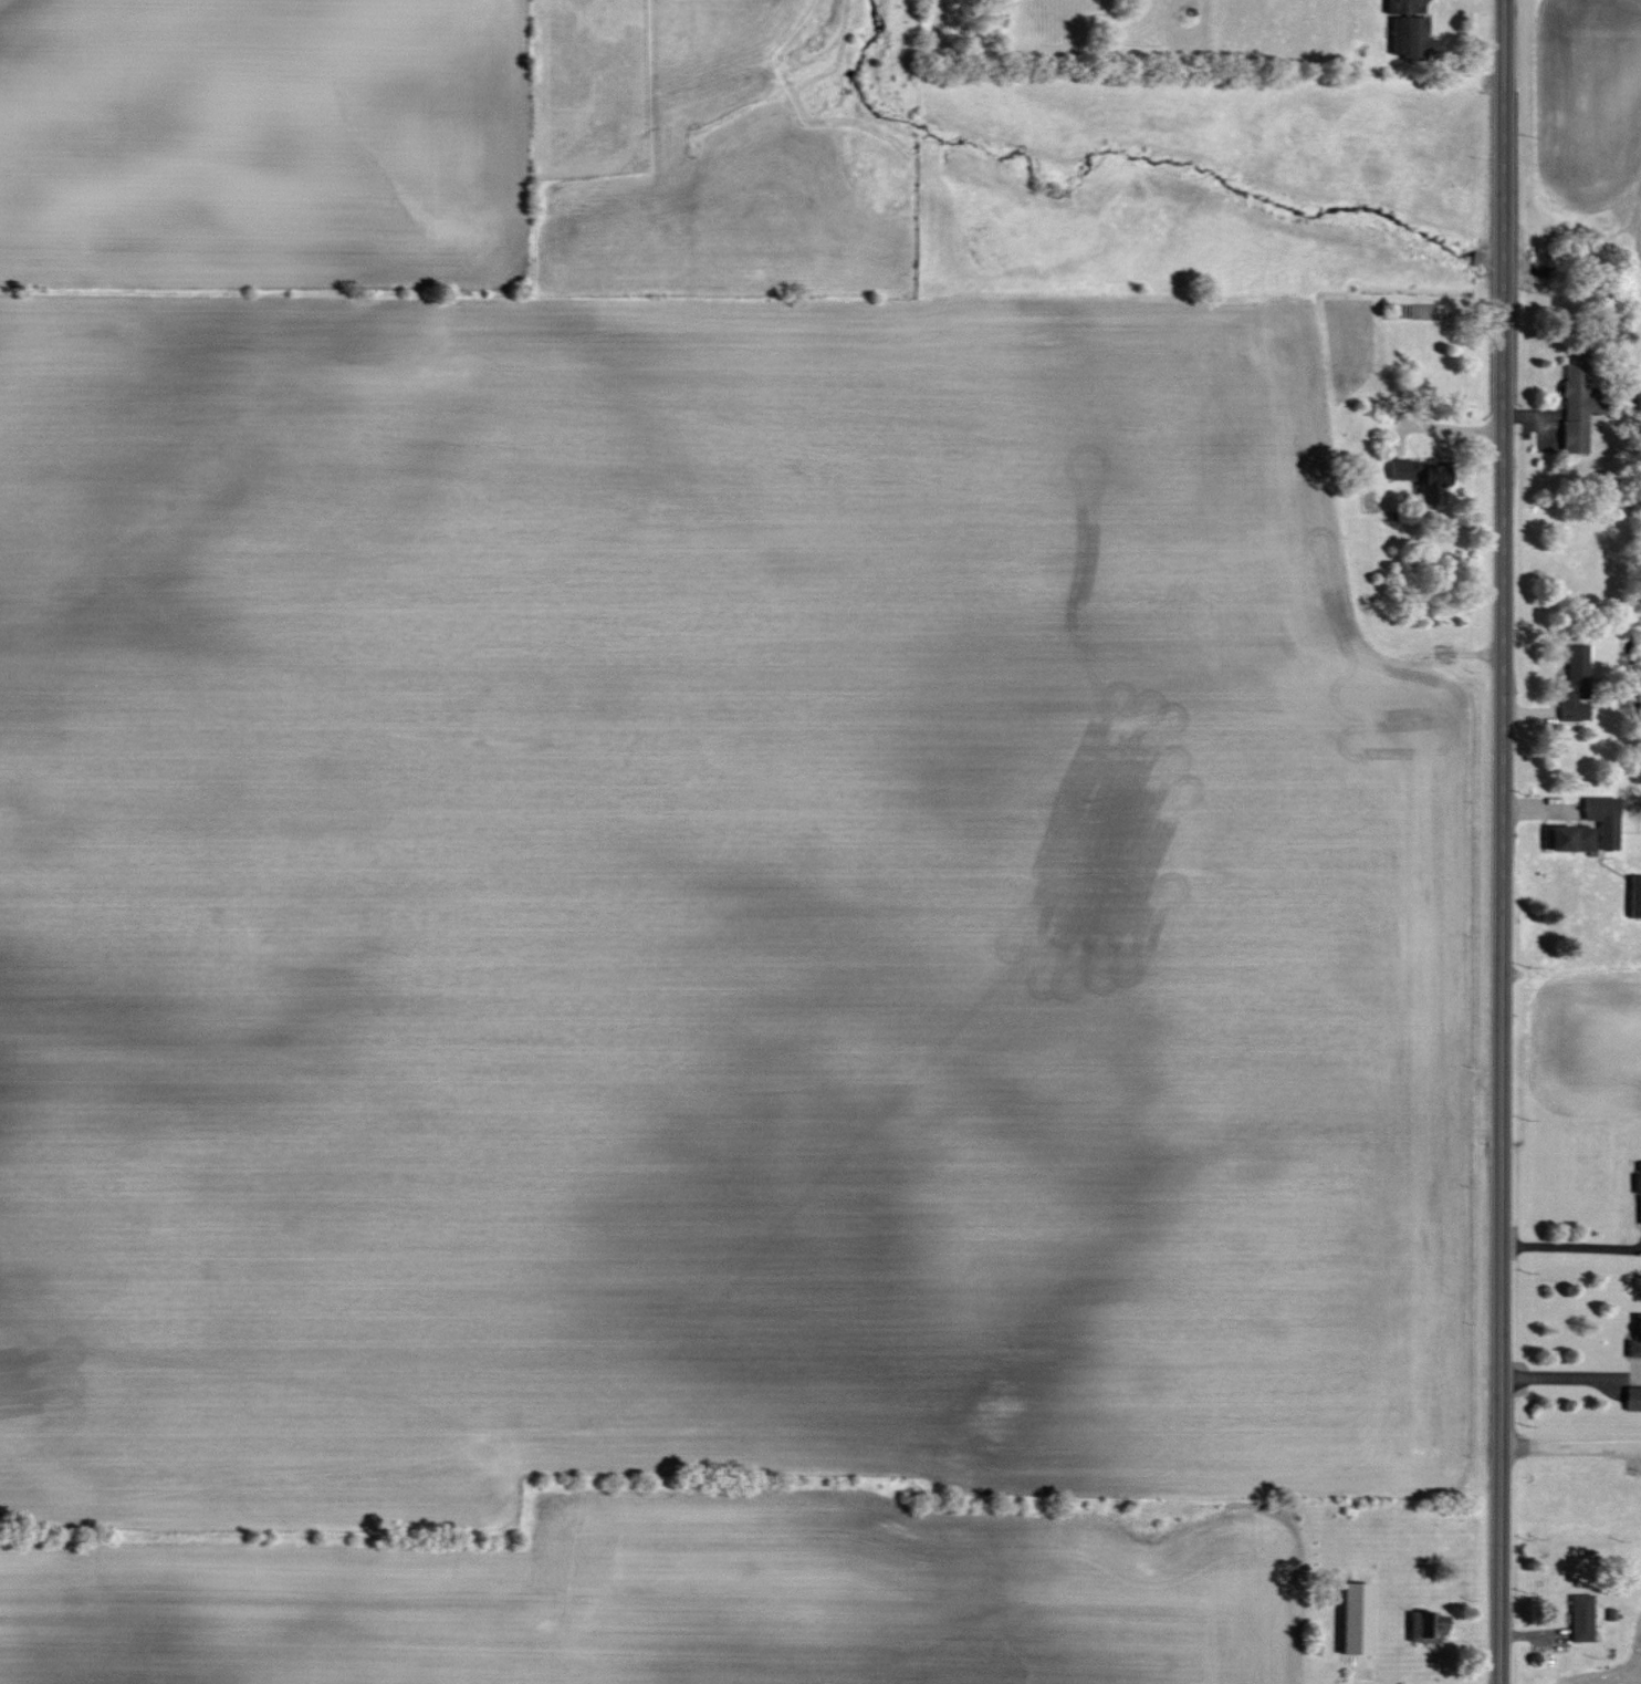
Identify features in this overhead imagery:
road: (1419, 0)
building: (1396, 7)
building: (1414, 39)
building: (1579, 406)
building: (1425, 477)
building: (1577, 682)
building: (1606, 819)
building: (1571, 838)
road: (1501, 842)
building: (1635, 895)
building: (1638, 1182)
road: (1570, 1246)
building: (1634, 1348)
road: (1571, 1378)
building: (1633, 1397)
road: (1569, 1447)
building: (1582, 1618)
building: (1358, 1619)
building: (1421, 1626)

